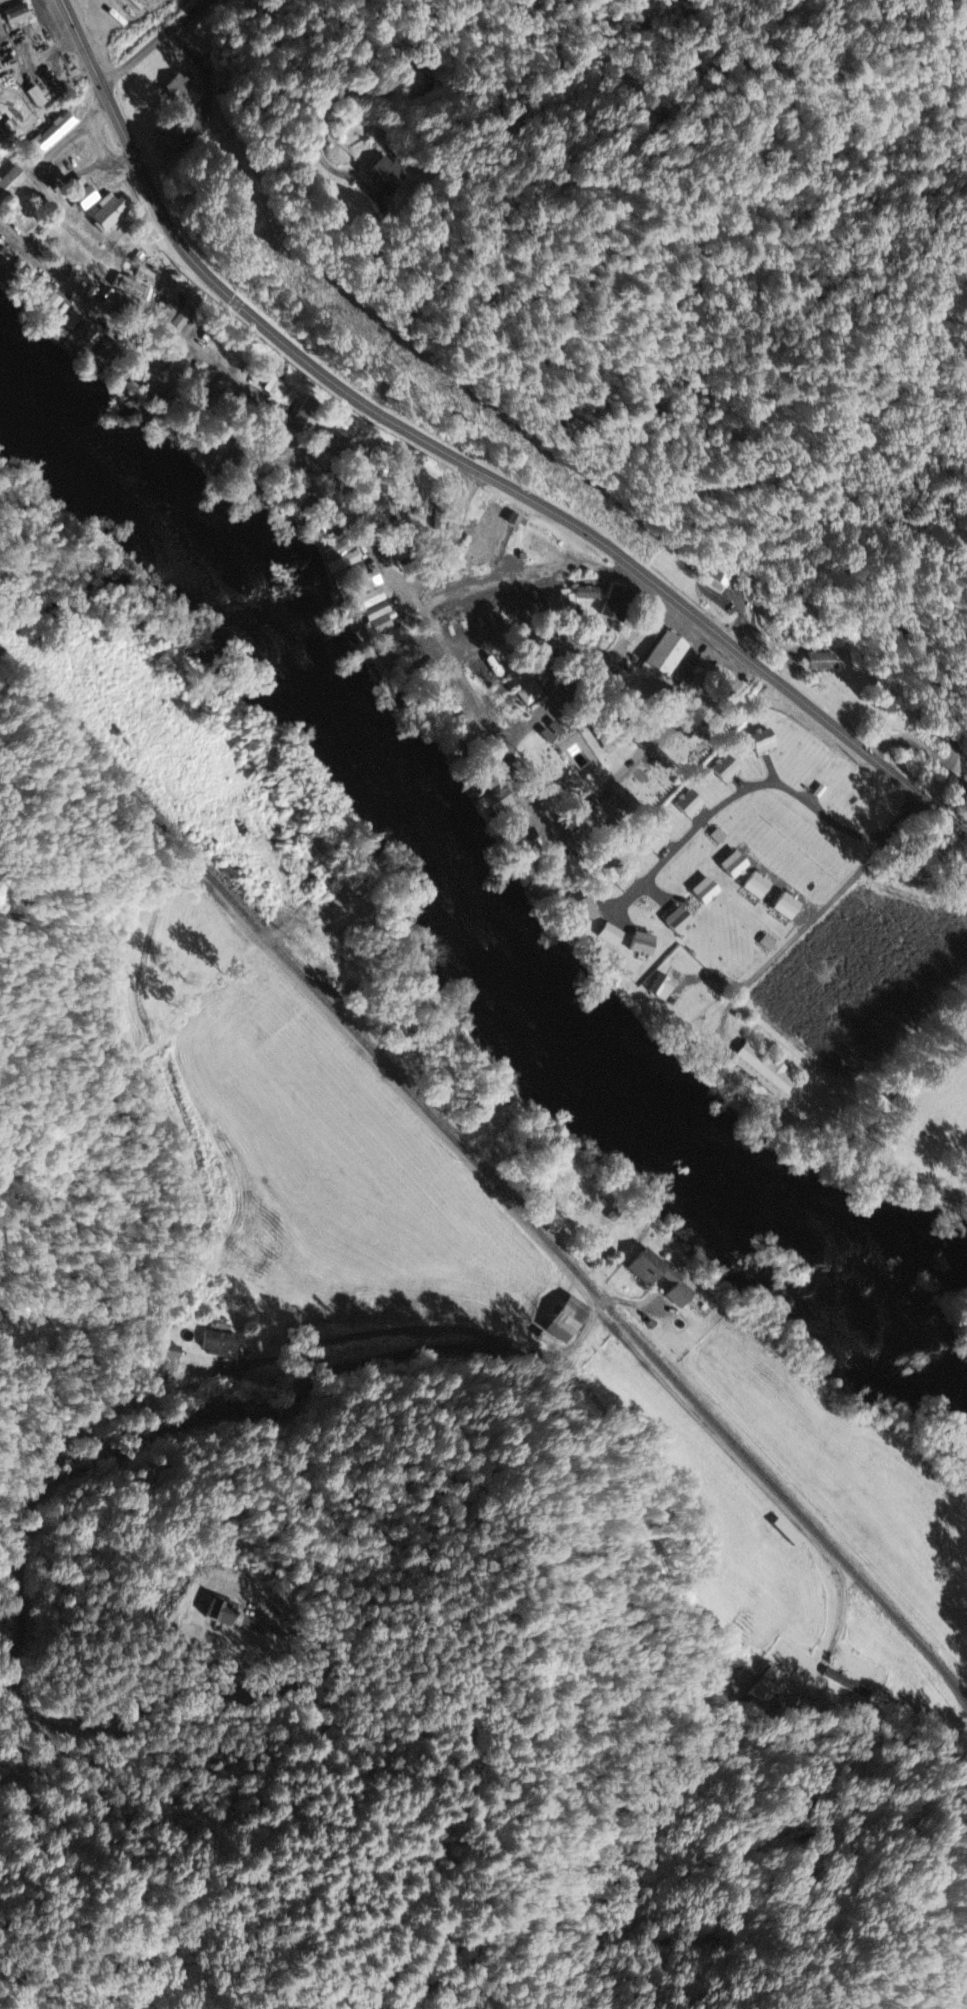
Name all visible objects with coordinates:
building: (13, 16)
road: (161, 43)
building: (177, 89)
building: (50, 136)
building: (392, 181)
building: (10, 184)
building: (79, 197)
building: (105, 216)
building: (52, 314)
building: (167, 315)
building: (274, 388)
road: (462, 460)
river: (163, 494)
building: (513, 521)
building: (483, 535)
building: (339, 559)
building: (450, 564)
building: (584, 594)
building: (613, 601)
building: (363, 605)
building: (662, 658)
building: (825, 663)
building: (683, 679)
building: (528, 695)
building: (549, 733)
building: (759, 742)
building: (722, 770)
building: (475, 776)
building: (686, 806)
building: (652, 841)
building: (730, 867)
building: (545, 875)
building: (619, 878)
road: (853, 879)
building: (753, 886)
building: (702, 893)
building: (783, 907)
building: (581, 911)
building: (675, 922)
building: (607, 935)
building: (639, 945)
building: (658, 989)
river: (552, 1004)
building: (759, 1071)
building: (899, 1099)
road: (444, 1137)
railway: (488, 1175)
river: (956, 1252)
river: (909, 1269)
building: (670, 1281)
building: (565, 1319)
river: (920, 1337)
building: (218, 1345)
building: (170, 1354)
building: (845, 1686)
building: (767, 1687)

